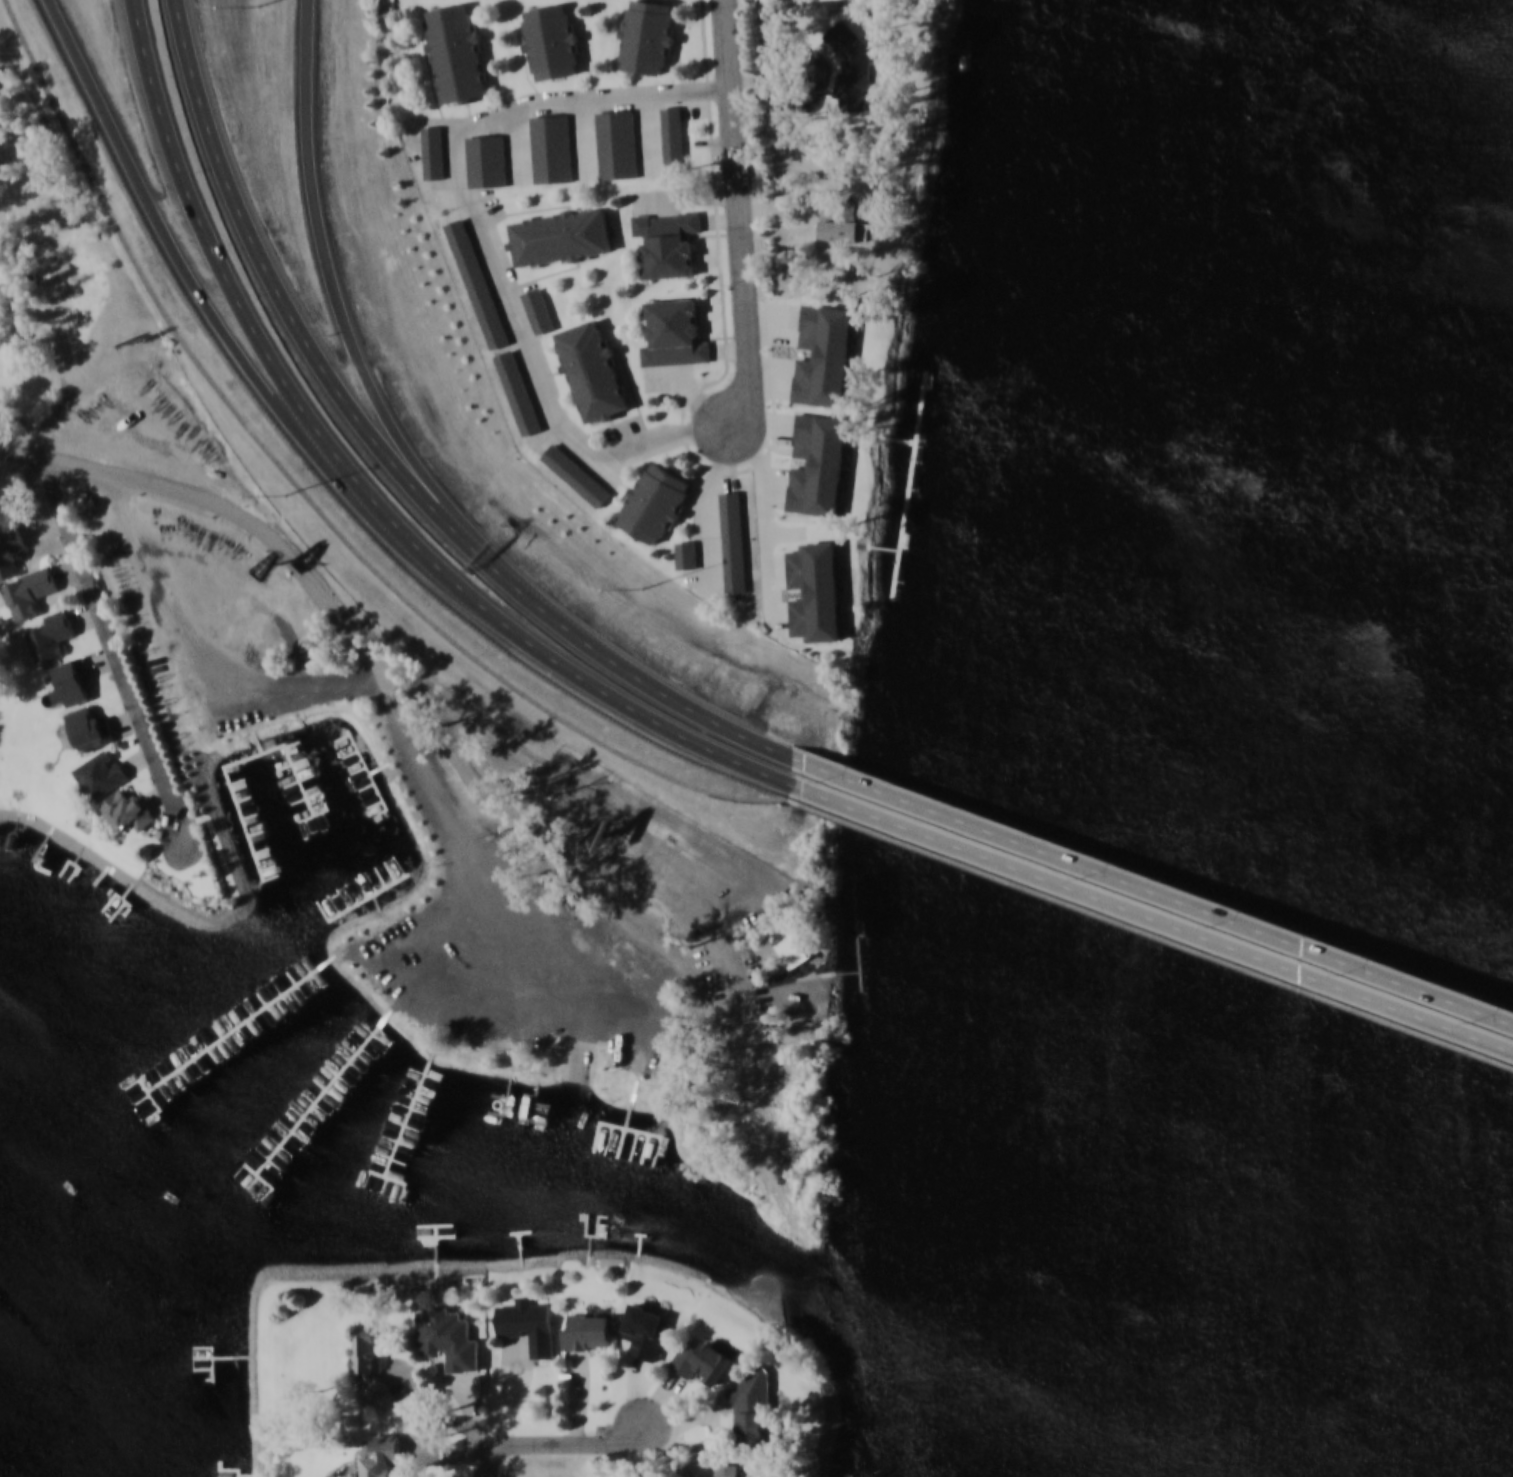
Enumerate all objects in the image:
street lamp: (262, 7)
building: (647, 35)
building: (551, 40)
road: (728, 43)
building: (456, 53)
building: (854, 67)
building: (673, 139)
building: (617, 143)
building: (551, 147)
building: (433, 152)
building: (486, 159)
road: (481, 213)
building: (843, 229)
building: (560, 236)
building: (667, 241)
road: (185, 263)
road: (743, 279)
building: (477, 282)
road: (339, 304)
building: (538, 310)
building: (674, 333)
building: (592, 371)
building: (518, 391)
road: (391, 460)
building: (576, 474)
road: (360, 483)
road: (306, 495)
street lamp: (286, 497)
building: (655, 502)
building: (733, 543)
building: (10, 548)
building: (687, 553)
street lamp: (643, 589)
building: (29, 591)
building: (52, 635)
road: (110, 636)
road: (381, 654)
building: (75, 679)
building: (90, 727)
river: (1494, 736)
building: (100, 773)
street lamp: (822, 781)
building: (128, 811)
road: (1077, 860)
street lamp: (1088, 876)
road: (1080, 887)
building: (809, 895)
street lamp: (1221, 924)
road: (1150, 927)
building: (793, 938)
street lamp: (1355, 972)
road: (1433, 987)
road: (1437, 1015)
street lamp: (1488, 1020)
building: (529, 1324)
building: (588, 1330)
building: (449, 1336)
building: (369, 1359)
building: (703, 1359)
building: (751, 1409)
road: (565, 1447)
building: (382, 1455)
building: (726, 1473)

